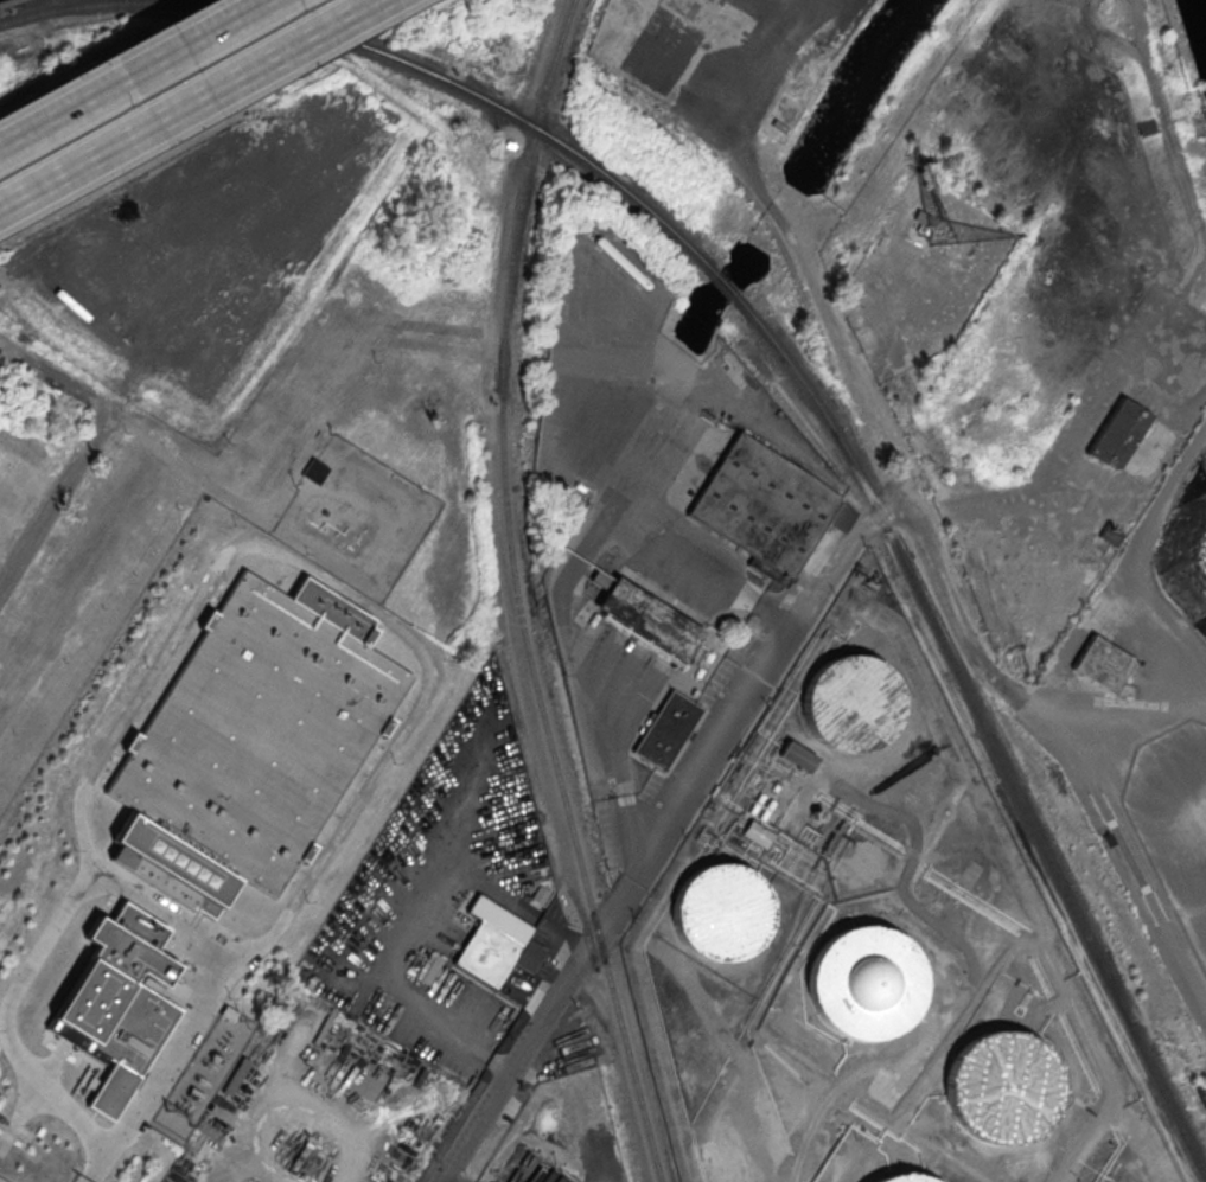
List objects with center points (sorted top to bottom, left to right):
railway: (1, 0)
railway: (1, 0)
railway: (113, 4)
road: (126, 70)
road: (697, 88)
railway: (467, 91)
road: (186, 103)
building: (1146, 126)
railway: (678, 128)
building: (508, 143)
road: (778, 210)
railway: (768, 223)
railway: (721, 285)
road: (855, 373)
railway: (834, 378)
building: (1116, 433)
road: (158, 446)
building: (314, 468)
road: (55, 498)
railway: (887, 504)
building: (758, 506)
railway: (894, 517)
building: (1110, 535)
road: (289, 557)
road: (568, 575)
railway: (516, 595)
building: (643, 614)
building: (1102, 664)
road: (1001, 697)
building: (850, 704)
storage tank: (850, 704)
building: (668, 729)
railway: (984, 730)
building: (251, 742)
building: (797, 755)
railway: (1019, 769)
road: (704, 772)
building: (754, 803)
storage tank: (754, 803)
building: (765, 810)
storage tank: (765, 810)
building: (757, 832)
wastewater plant: (194, 841)
building: (722, 912)
storage tank: (722, 912)
building: (496, 952)
building: (866, 982)
storage tank: (866, 982)
building: (117, 1005)
building: (228, 1015)
power substation: (208, 1072)
building: (1002, 1085)
storage tank: (1002, 1085)
road: (100, 1171)
road: (449, 1178)
building: (902, 1178)
storage tank: (902, 1178)

